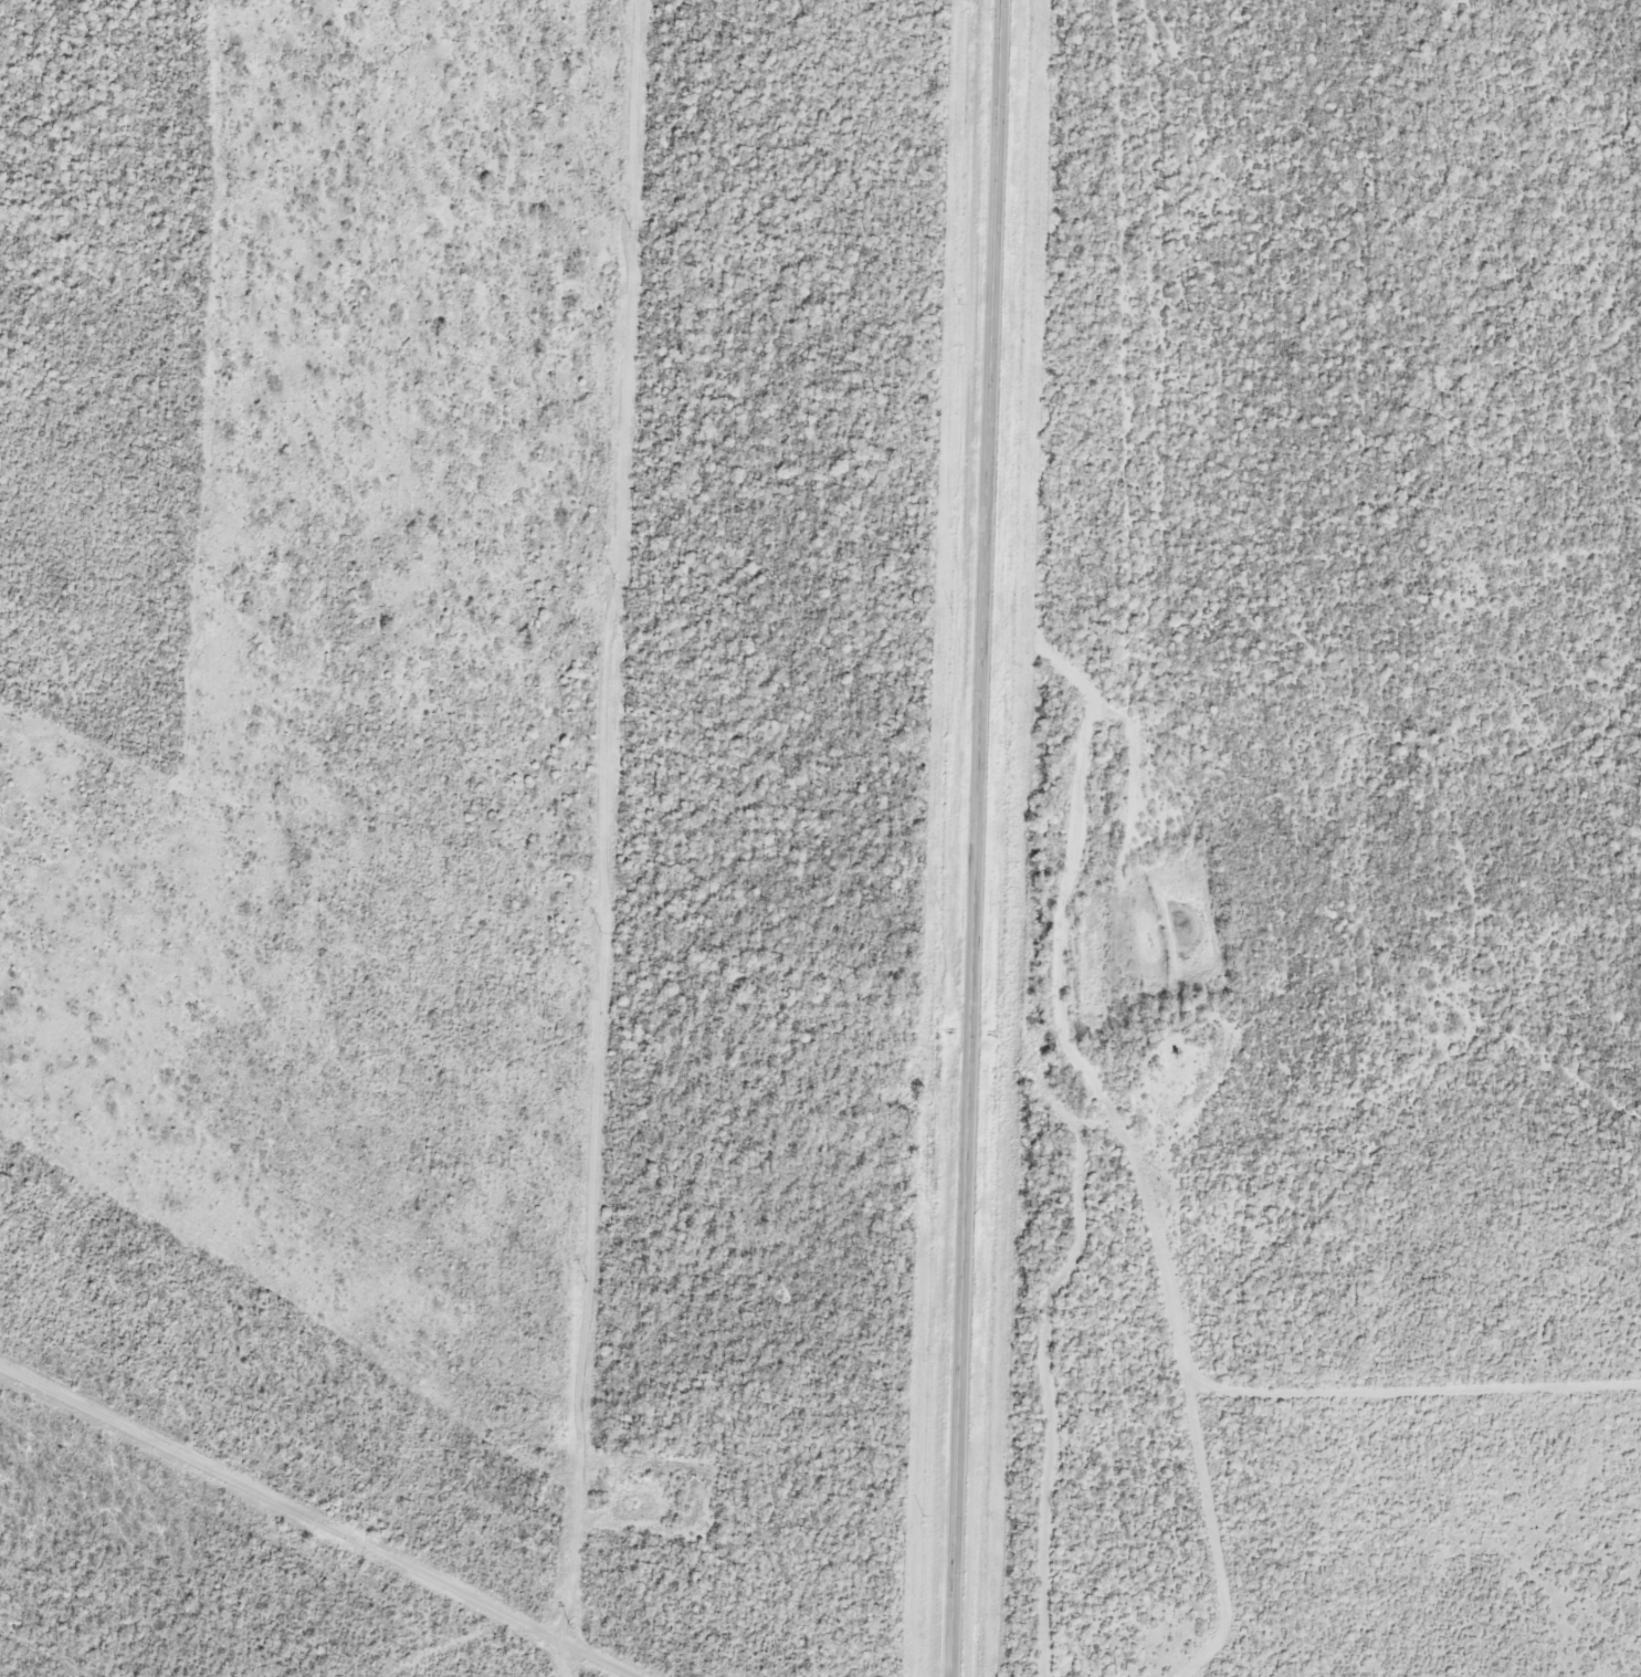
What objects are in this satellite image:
power tower: (631, 230)
power tower: (616, 579)
road: (968, 838)
power tower: (600, 932)
power tower: (586, 1279)
road: (314, 1522)
power tower: (571, 1626)

